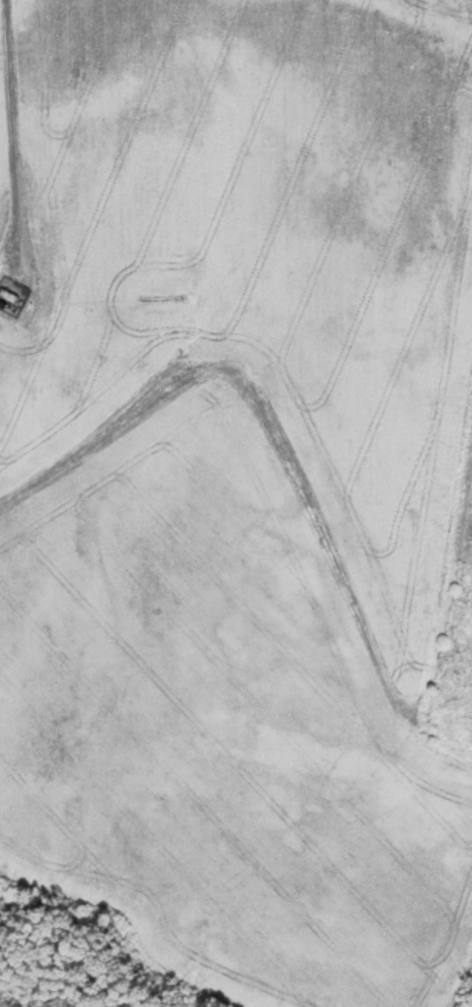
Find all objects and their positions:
building: (460, 1)
building: (7, 295)

